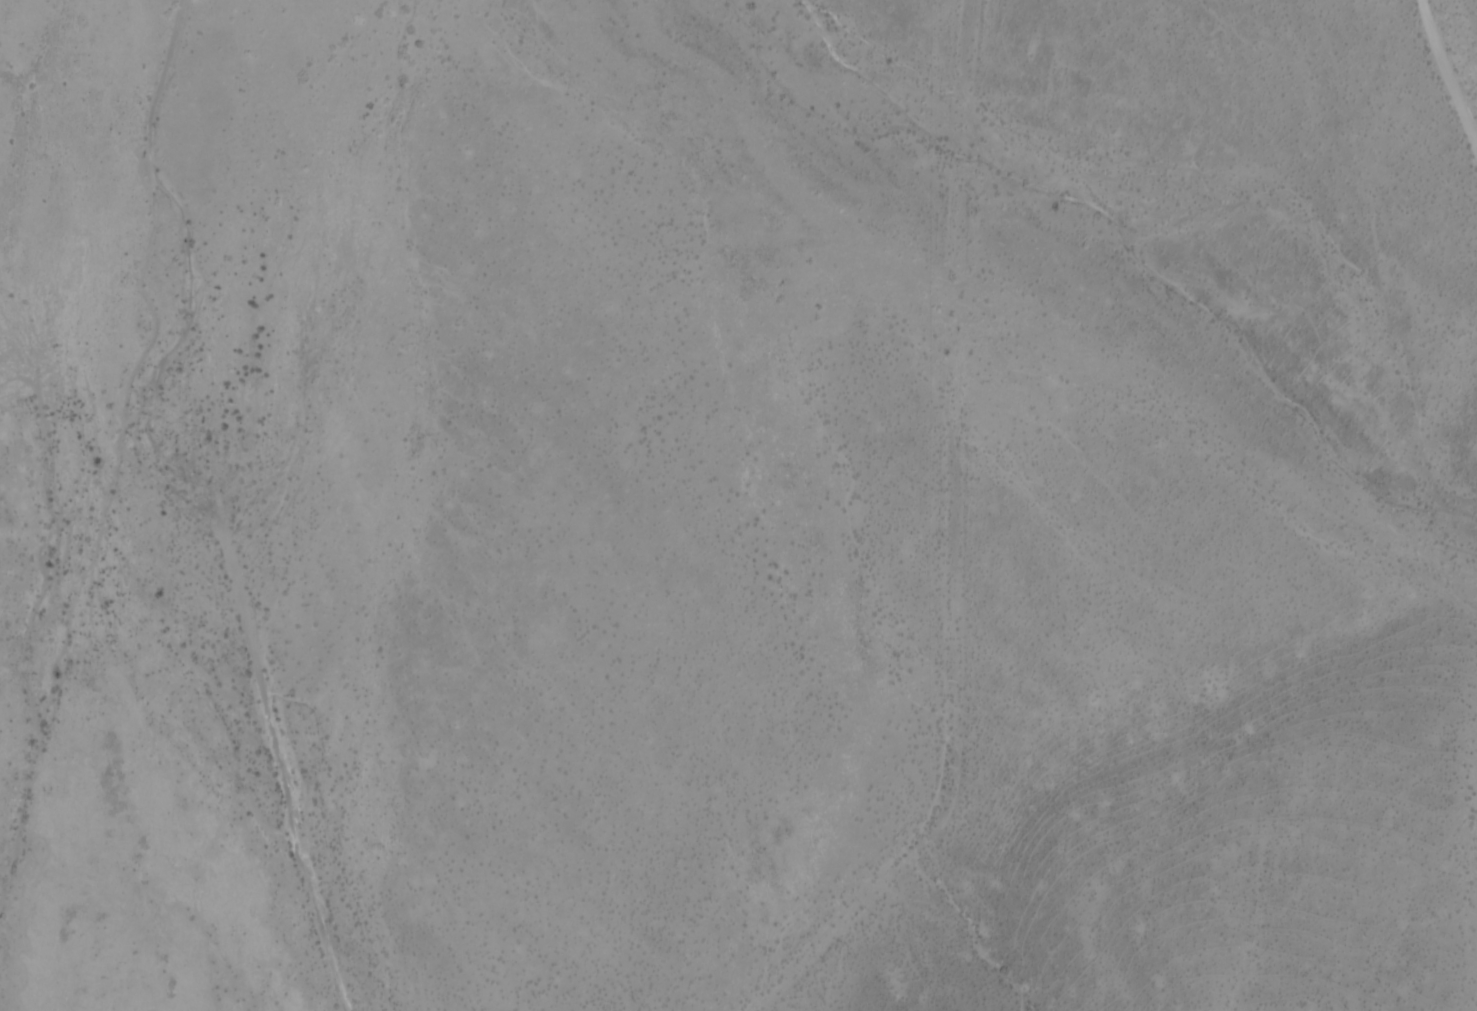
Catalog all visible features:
road: (1445, 78)

